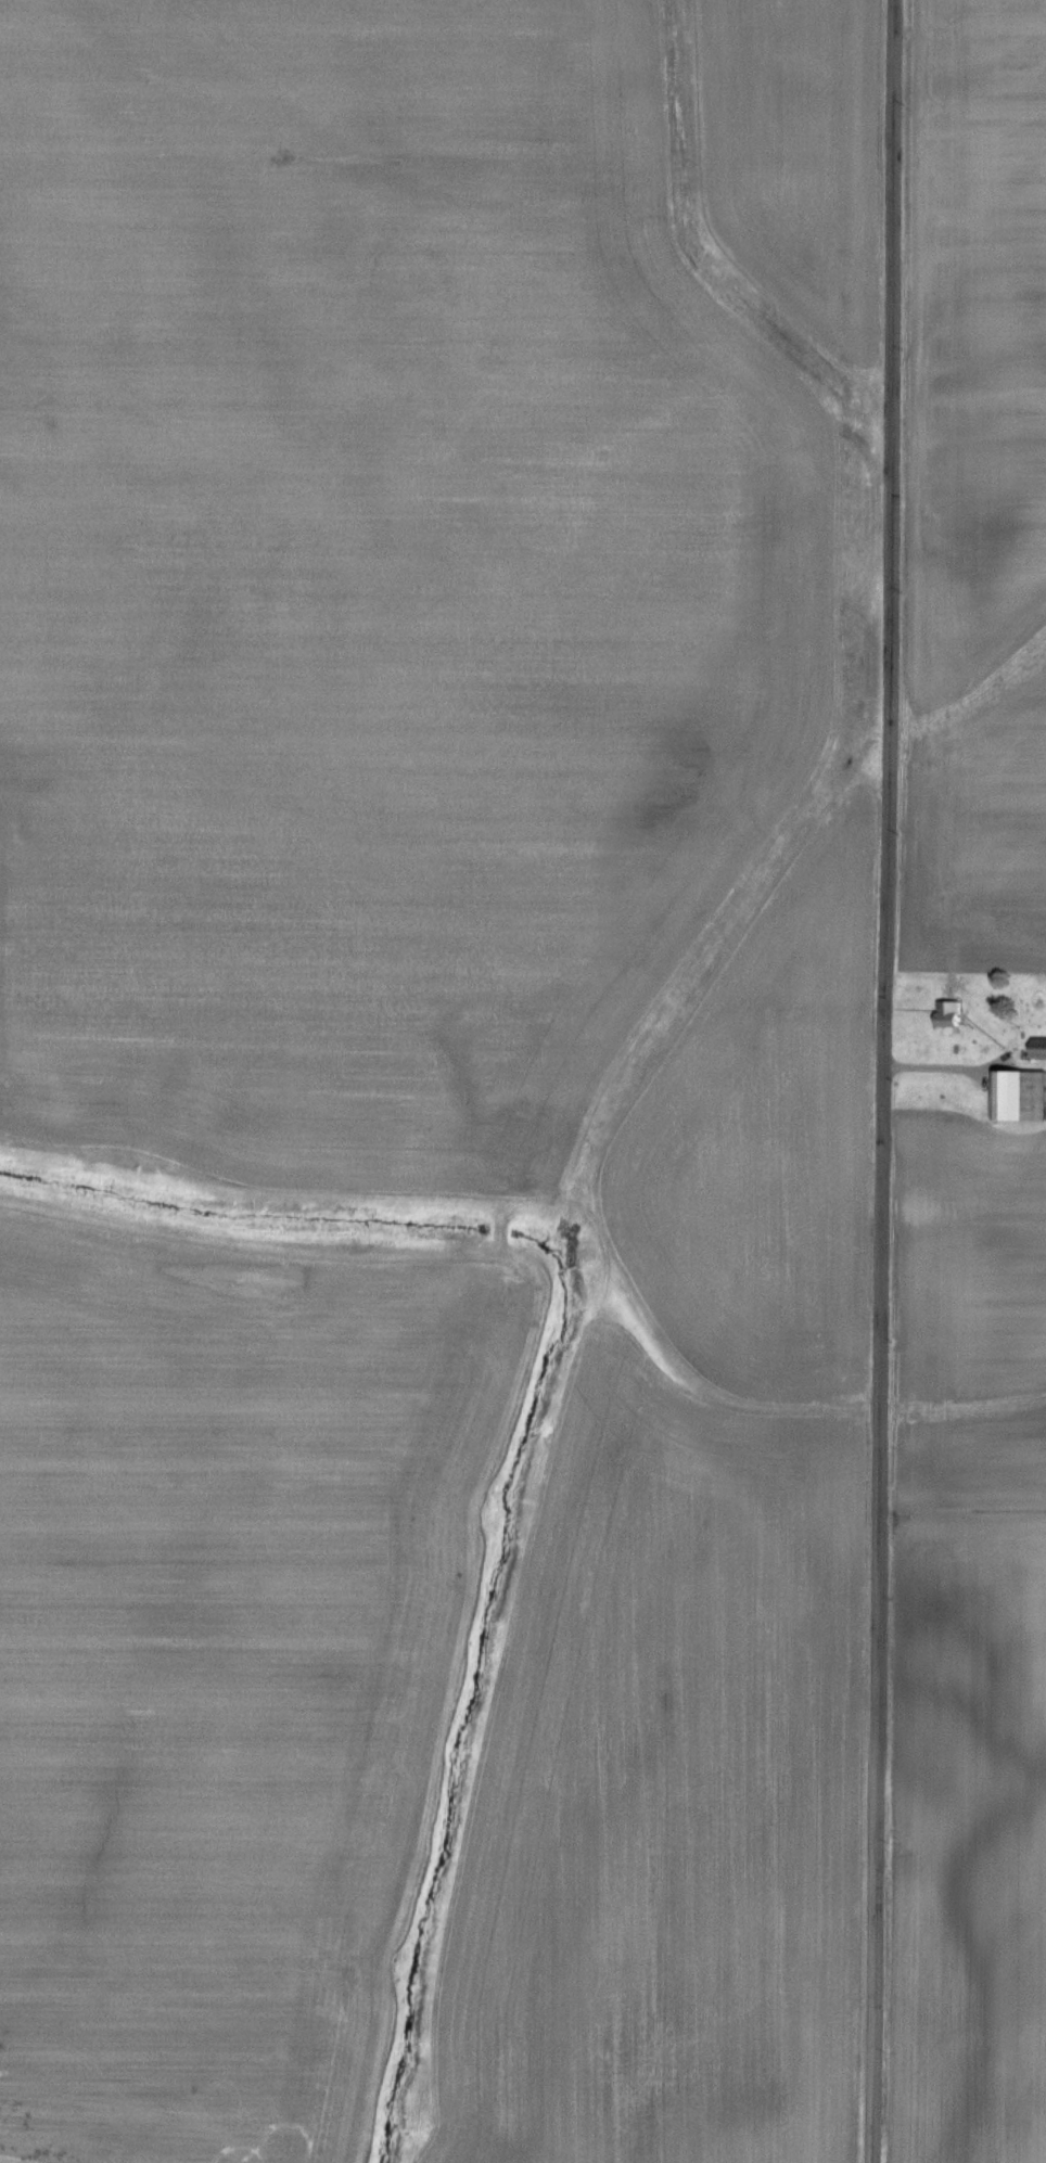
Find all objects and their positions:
crop: (975, 486)
building: (952, 1013)
building: (1039, 1048)
crop: (450, 1078)
road: (885, 1081)
building: (1021, 1095)
crop: (971, 1650)

